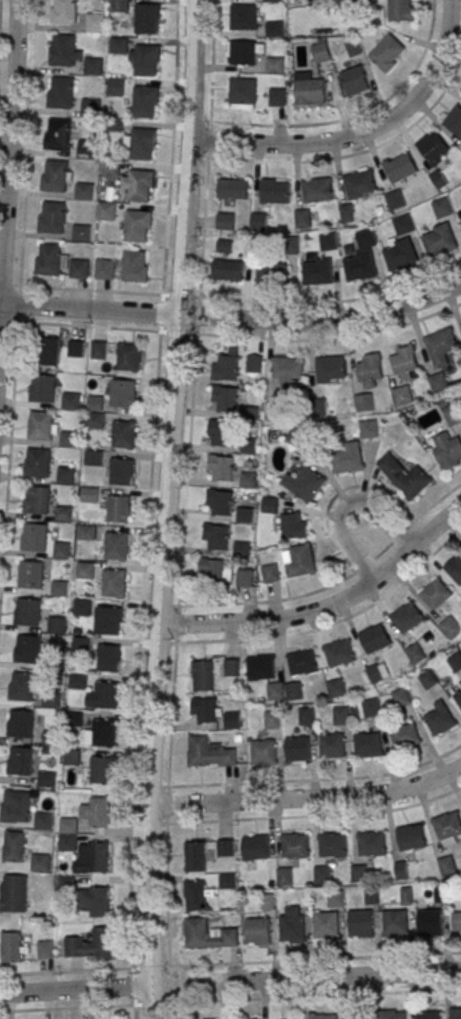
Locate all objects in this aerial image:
building: (272, 0)
building: (310, 0)
building: (347, 4)
building: (118, 5)
building: (400, 10)
building: (62, 12)
building: (243, 17)
building: (147, 18)
building: (94, 22)
building: (274, 29)
building: (118, 45)
building: (353, 48)
building: (61, 50)
building: (244, 51)
building: (321, 52)
building: (388, 53)
building: (146, 59)
building: (274, 64)
building: (92, 65)
road: (211, 79)
building: (354, 81)
building: (115, 86)
building: (309, 90)
building: (242, 92)
building: (60, 93)
building: (277, 97)
building: (144, 102)
building: (89, 107)
building: (454, 120)
road: (360, 133)
building: (57, 134)
building: (143, 143)
road: (171, 147)
building: (433, 147)
building: (87, 148)
road: (9, 158)
building: (400, 167)
building: (110, 169)
building: (54, 176)
building: (439, 179)
building: (359, 184)
building: (139, 185)
building: (232, 189)
building: (317, 190)
building: (84, 191)
building: (274, 191)
building: (395, 199)
building: (442, 207)
building: (106, 210)
building: (52, 217)
building: (302, 219)
building: (460, 220)
building: (225, 221)
building: (258, 221)
building: (137, 225)
building: (82, 233)
building: (439, 240)
building: (328, 241)
building: (402, 245)
building: (224, 246)
building: (361, 258)
building: (49, 260)
building: (134, 266)
building: (79, 268)
building: (104, 269)
building: (227, 270)
building: (317, 271)
building: (271, 273)
road: (81, 289)
road: (224, 298)
road: (233, 318)
road: (97, 326)
building: (441, 346)
building: (75, 348)
building: (98, 349)
building: (49, 351)
building: (128, 356)
building: (254, 363)
building: (405, 363)
building: (225, 365)
building: (331, 369)
building: (288, 371)
building: (369, 371)
building: (438, 382)
building: (42, 388)
building: (123, 393)
building: (402, 395)
building: (225, 397)
building: (70, 401)
building: (363, 402)
building: (94, 403)
building: (275, 411)
building: (452, 415)
building: (94, 420)
building: (40, 425)
building: (368, 428)
building: (222, 432)
building: (123, 434)
building: (296, 437)
building: (68, 439)
building: (248, 445)
building: (448, 450)
road: (189, 451)
building: (92, 458)
building: (348, 458)
building: (38, 461)
building: (221, 466)
building: (121, 470)
building: (65, 475)
building: (403, 476)
building: (248, 480)
building: (304, 483)
building: (89, 494)
building: (36, 499)
building: (221, 501)
road: (343, 503)
building: (269, 505)
building: (118, 508)
road: (167, 509)
building: (63, 513)
building: (244, 515)
building: (293, 525)
building: (86, 532)
building: (217, 536)
building: (35, 537)
building: (116, 545)
building: (61, 550)
building: (298, 560)
building: (454, 567)
building: (84, 570)
building: (213, 570)
building: (270, 572)
building: (30, 574)
building: (244, 577)
building: (114, 582)
building: (58, 588)
building: (435, 594)
road: (327, 605)
building: (82, 607)
building: (26, 612)
building: (406, 617)
building: (108, 620)
building: (56, 625)
building: (450, 627)
building: (374, 638)
building: (79, 645)
building: (27, 649)
building: (338, 653)
building: (415, 653)
building: (109, 657)
building: (301, 662)
building: (455, 662)
building: (260, 667)
building: (212, 671)
building: (377, 672)
building: (427, 679)
building: (77, 681)
building: (460, 683)
building: (22, 687)
building: (336, 688)
building: (275, 691)
building: (293, 691)
building: (103, 695)
building: (401, 697)
building: (50, 699)
building: (458, 699)
building: (371, 707)
building: (205, 710)
building: (305, 715)
building: (340, 715)
building: (438, 718)
building: (272, 719)
building: (231, 720)
building: (20, 723)
road: (134, 724)
building: (104, 731)
building: (406, 737)
building: (331, 745)
building: (368, 745)
building: (297, 748)
building: (262, 752)
building: (209, 753)
building: (71, 757)
building: (21, 760)
building: (101, 770)
building: (46, 779)
road: (307, 798)
building: (15, 805)
building: (97, 812)
building: (43, 820)
building: (448, 828)
building: (67, 835)
building: (411, 837)
building: (371, 844)
building: (294, 845)
building: (331, 845)
building: (13, 846)
building: (254, 847)
building: (224, 848)
building: (194, 856)
building: (96, 857)
building: (39, 863)
building: (447, 866)
building: (401, 870)
building: (358, 873)
building: (322, 874)
building: (284, 876)
building: (227, 880)
building: (13, 893)
building: (440, 894)
building: (195, 895)
building: (370, 896)
building: (334, 898)
building: (95, 900)
building: (456, 921)
building: (429, 922)
building: (360, 923)
building: (395, 923)
building: (326, 925)
building: (293, 926)
building: (257, 931)
building: (208, 934)
building: (91, 944)
building: (11, 947)
building: (43, 949)
road: (66, 971)
road: (230, 982)
road: (316, 995)
road: (103, 1006)
building: (455, 1013)
building: (393, 1014)
building: (427, 1015)
building: (323, 1016)
building: (288, 1018)
building: (357, 1018)

